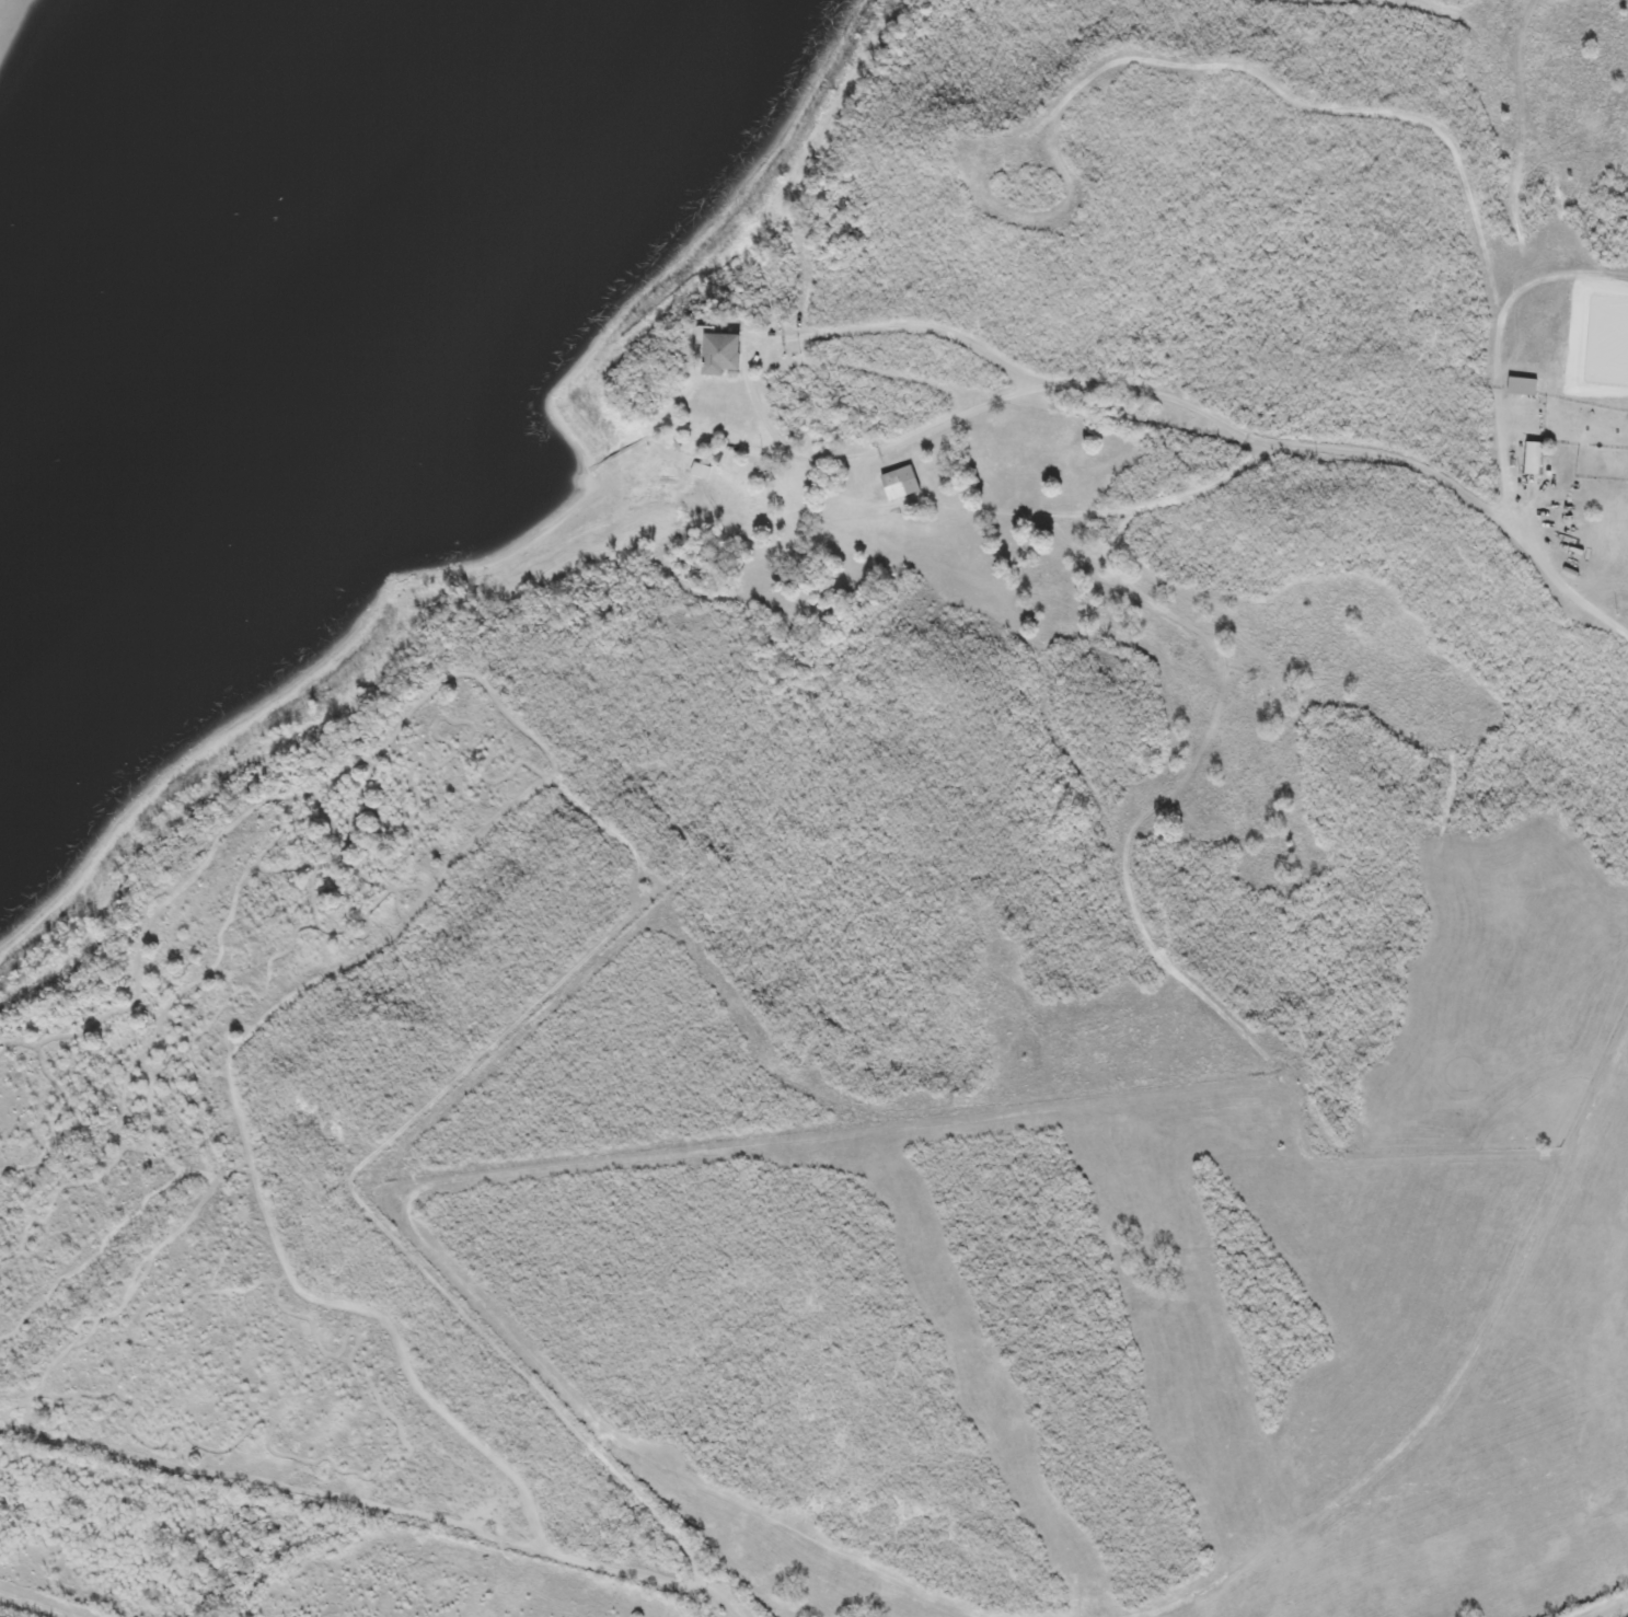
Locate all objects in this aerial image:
building: (718, 353)
building: (1522, 386)
building: (1534, 458)
building: (899, 483)
road: (1610, 1609)

